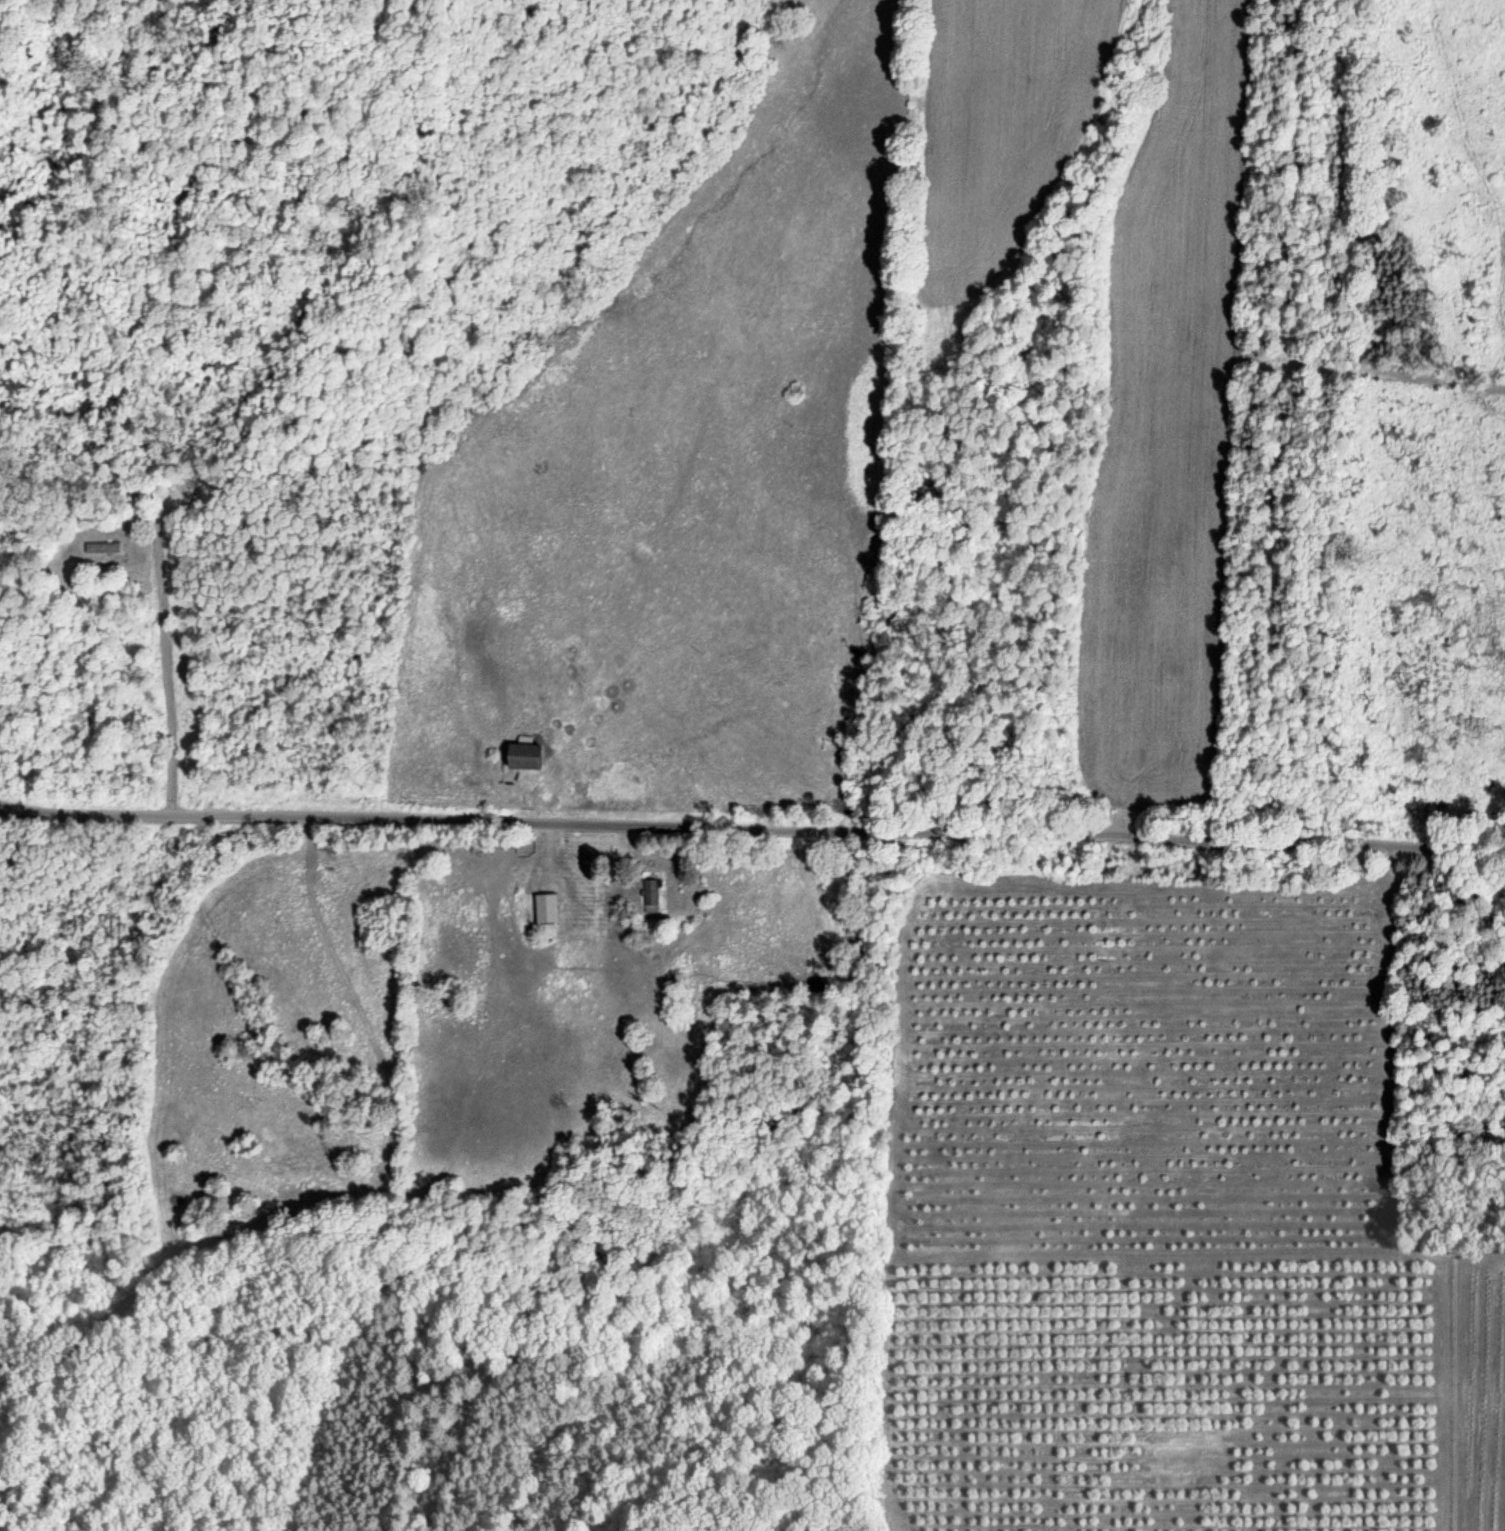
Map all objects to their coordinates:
building: (102, 551)
building: (520, 758)
road: (756, 810)
building: (652, 897)
building: (545, 910)

